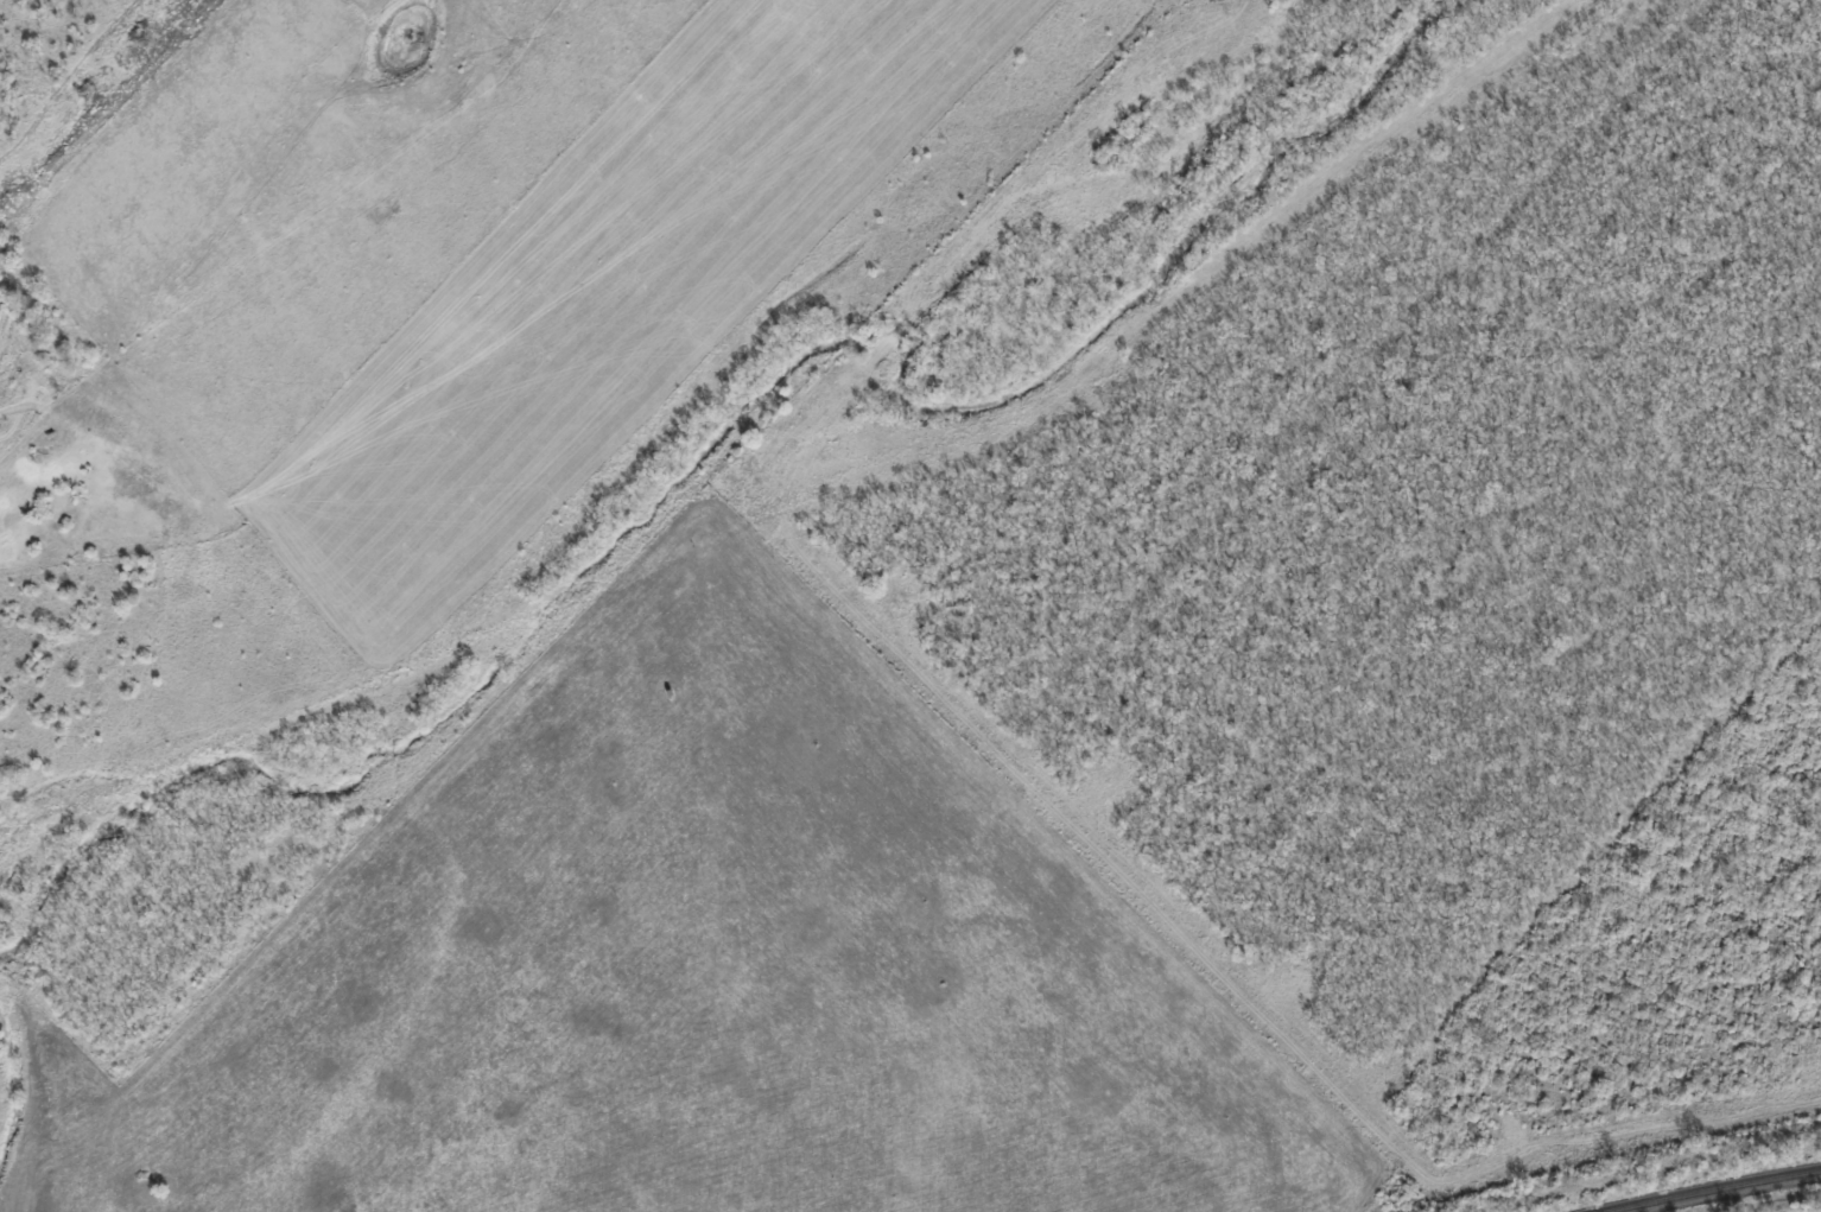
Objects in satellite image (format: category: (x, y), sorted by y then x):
railway: (1717, 1191)

